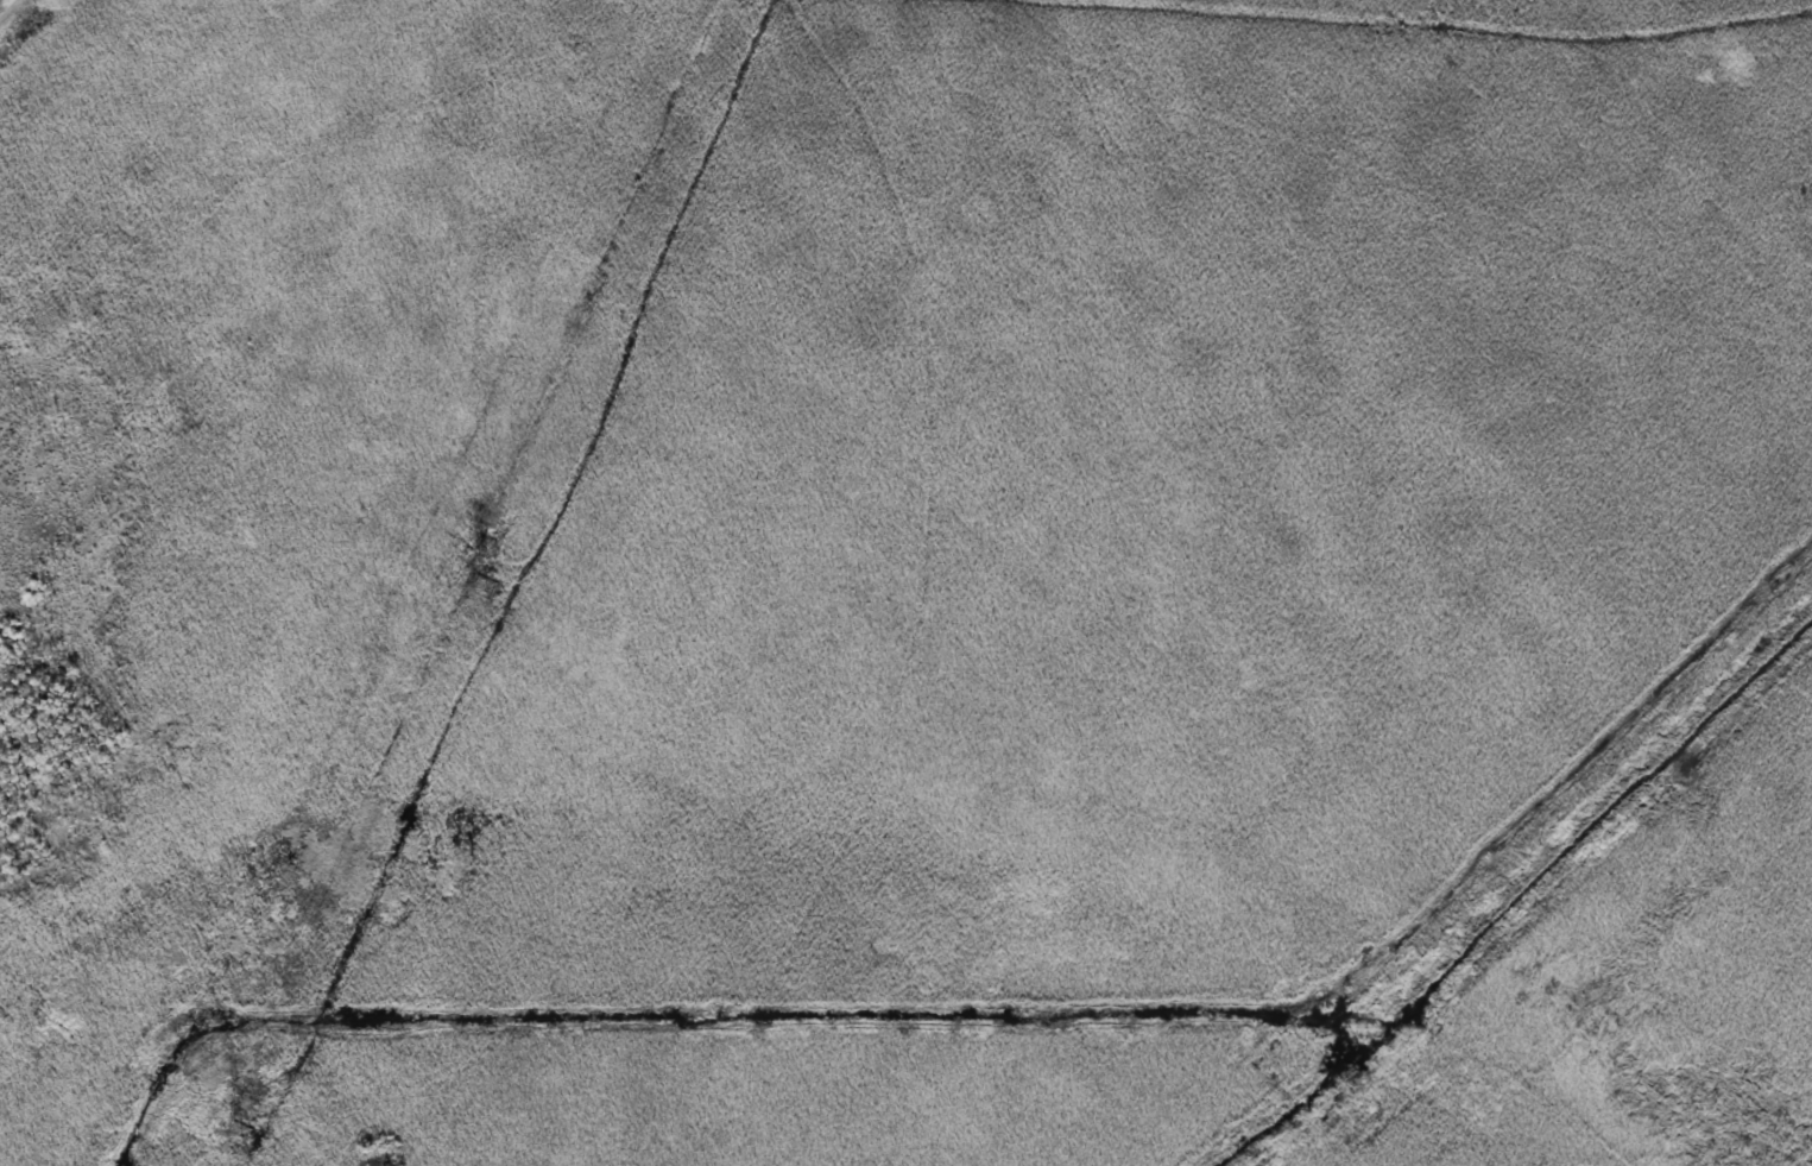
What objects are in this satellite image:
road: (20, 23)
power tower: (484, 588)
power tower: (235, 1135)

